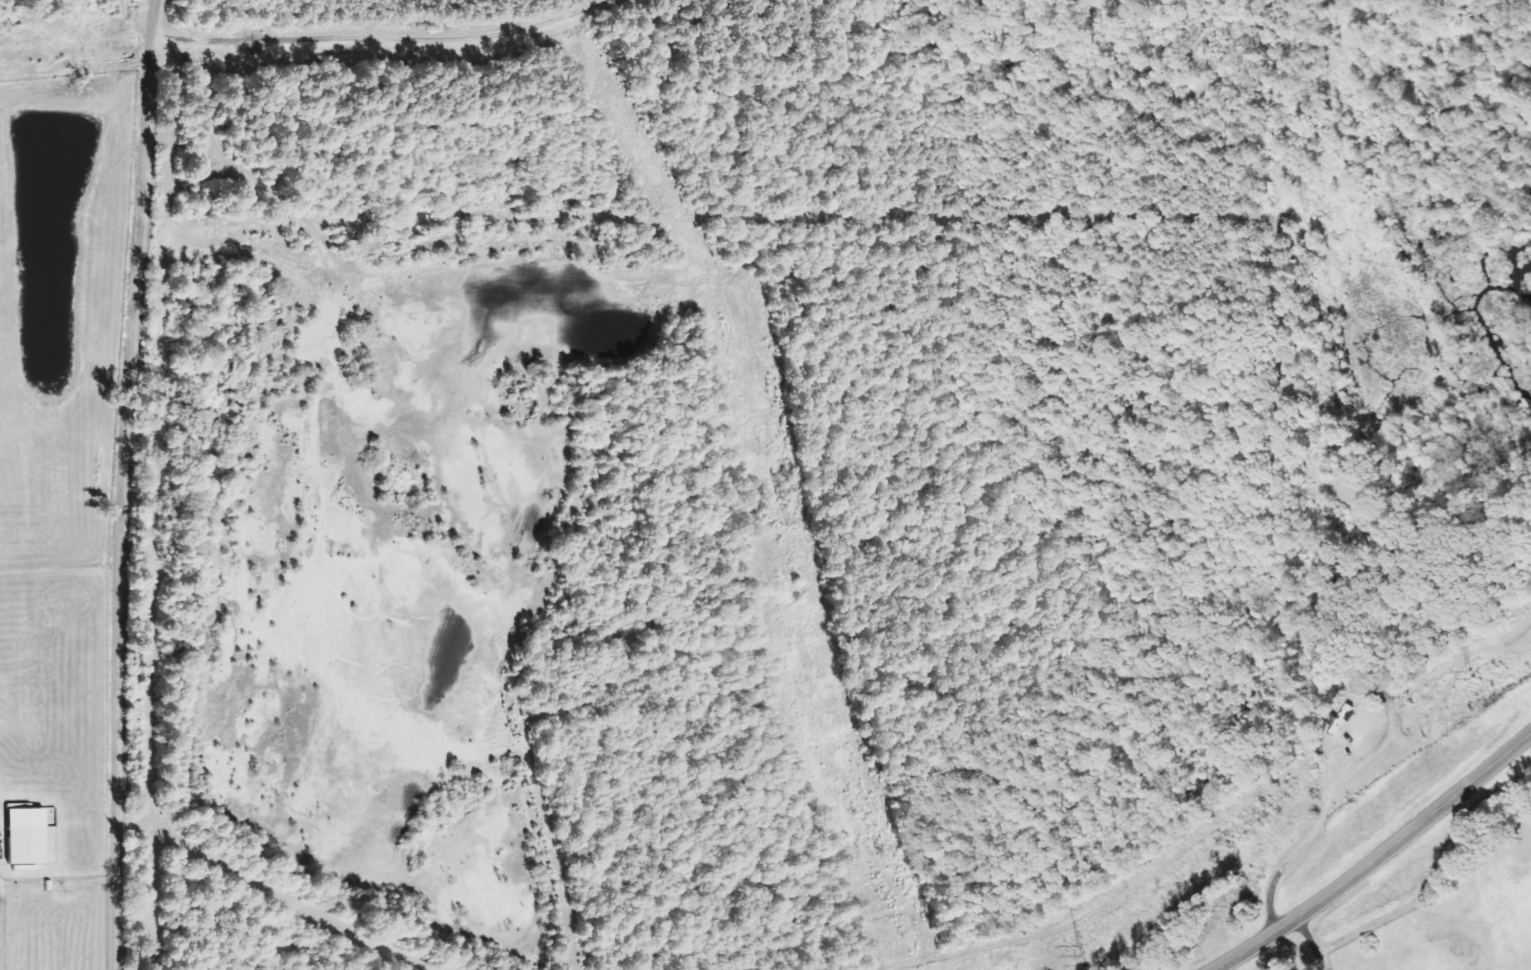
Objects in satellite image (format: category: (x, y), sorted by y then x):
road: (122, 484)
power tower: (1471, 677)
building: (20, 835)
road: (1376, 856)
road: (1312, 943)
power tower: (1086, 950)

